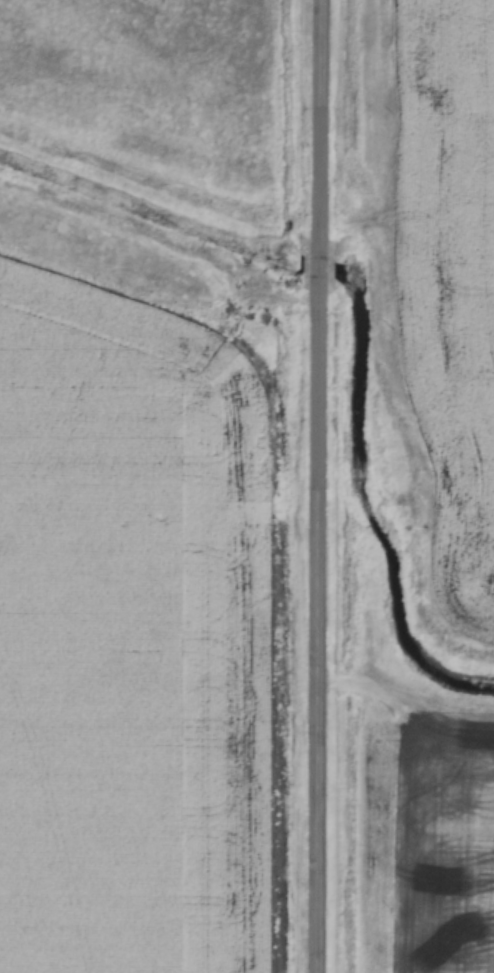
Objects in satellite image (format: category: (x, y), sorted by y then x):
river: (317, 250)
road: (316, 486)

